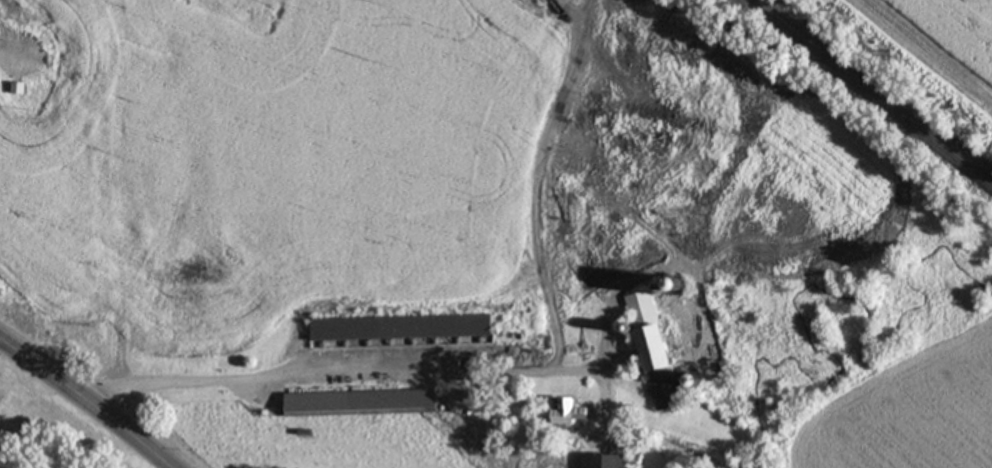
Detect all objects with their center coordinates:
building: (21, 90)
railway: (874, 90)
road: (109, 204)
building: (402, 329)
building: (659, 355)
road: (282, 378)
building: (366, 402)
road: (79, 405)
building: (576, 414)
building: (4, 444)
building: (610, 462)

